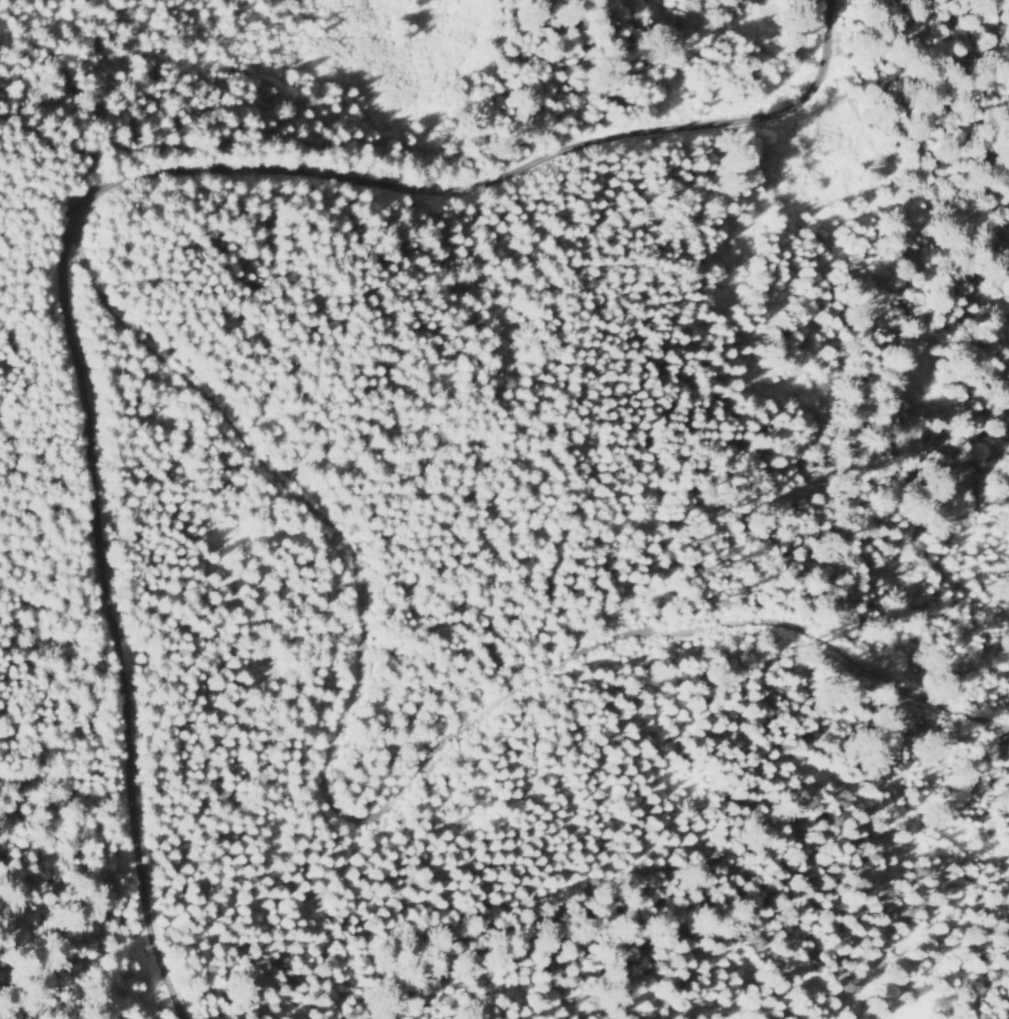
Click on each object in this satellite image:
road: (86, 198)
road: (133, 339)
road: (447, 740)

